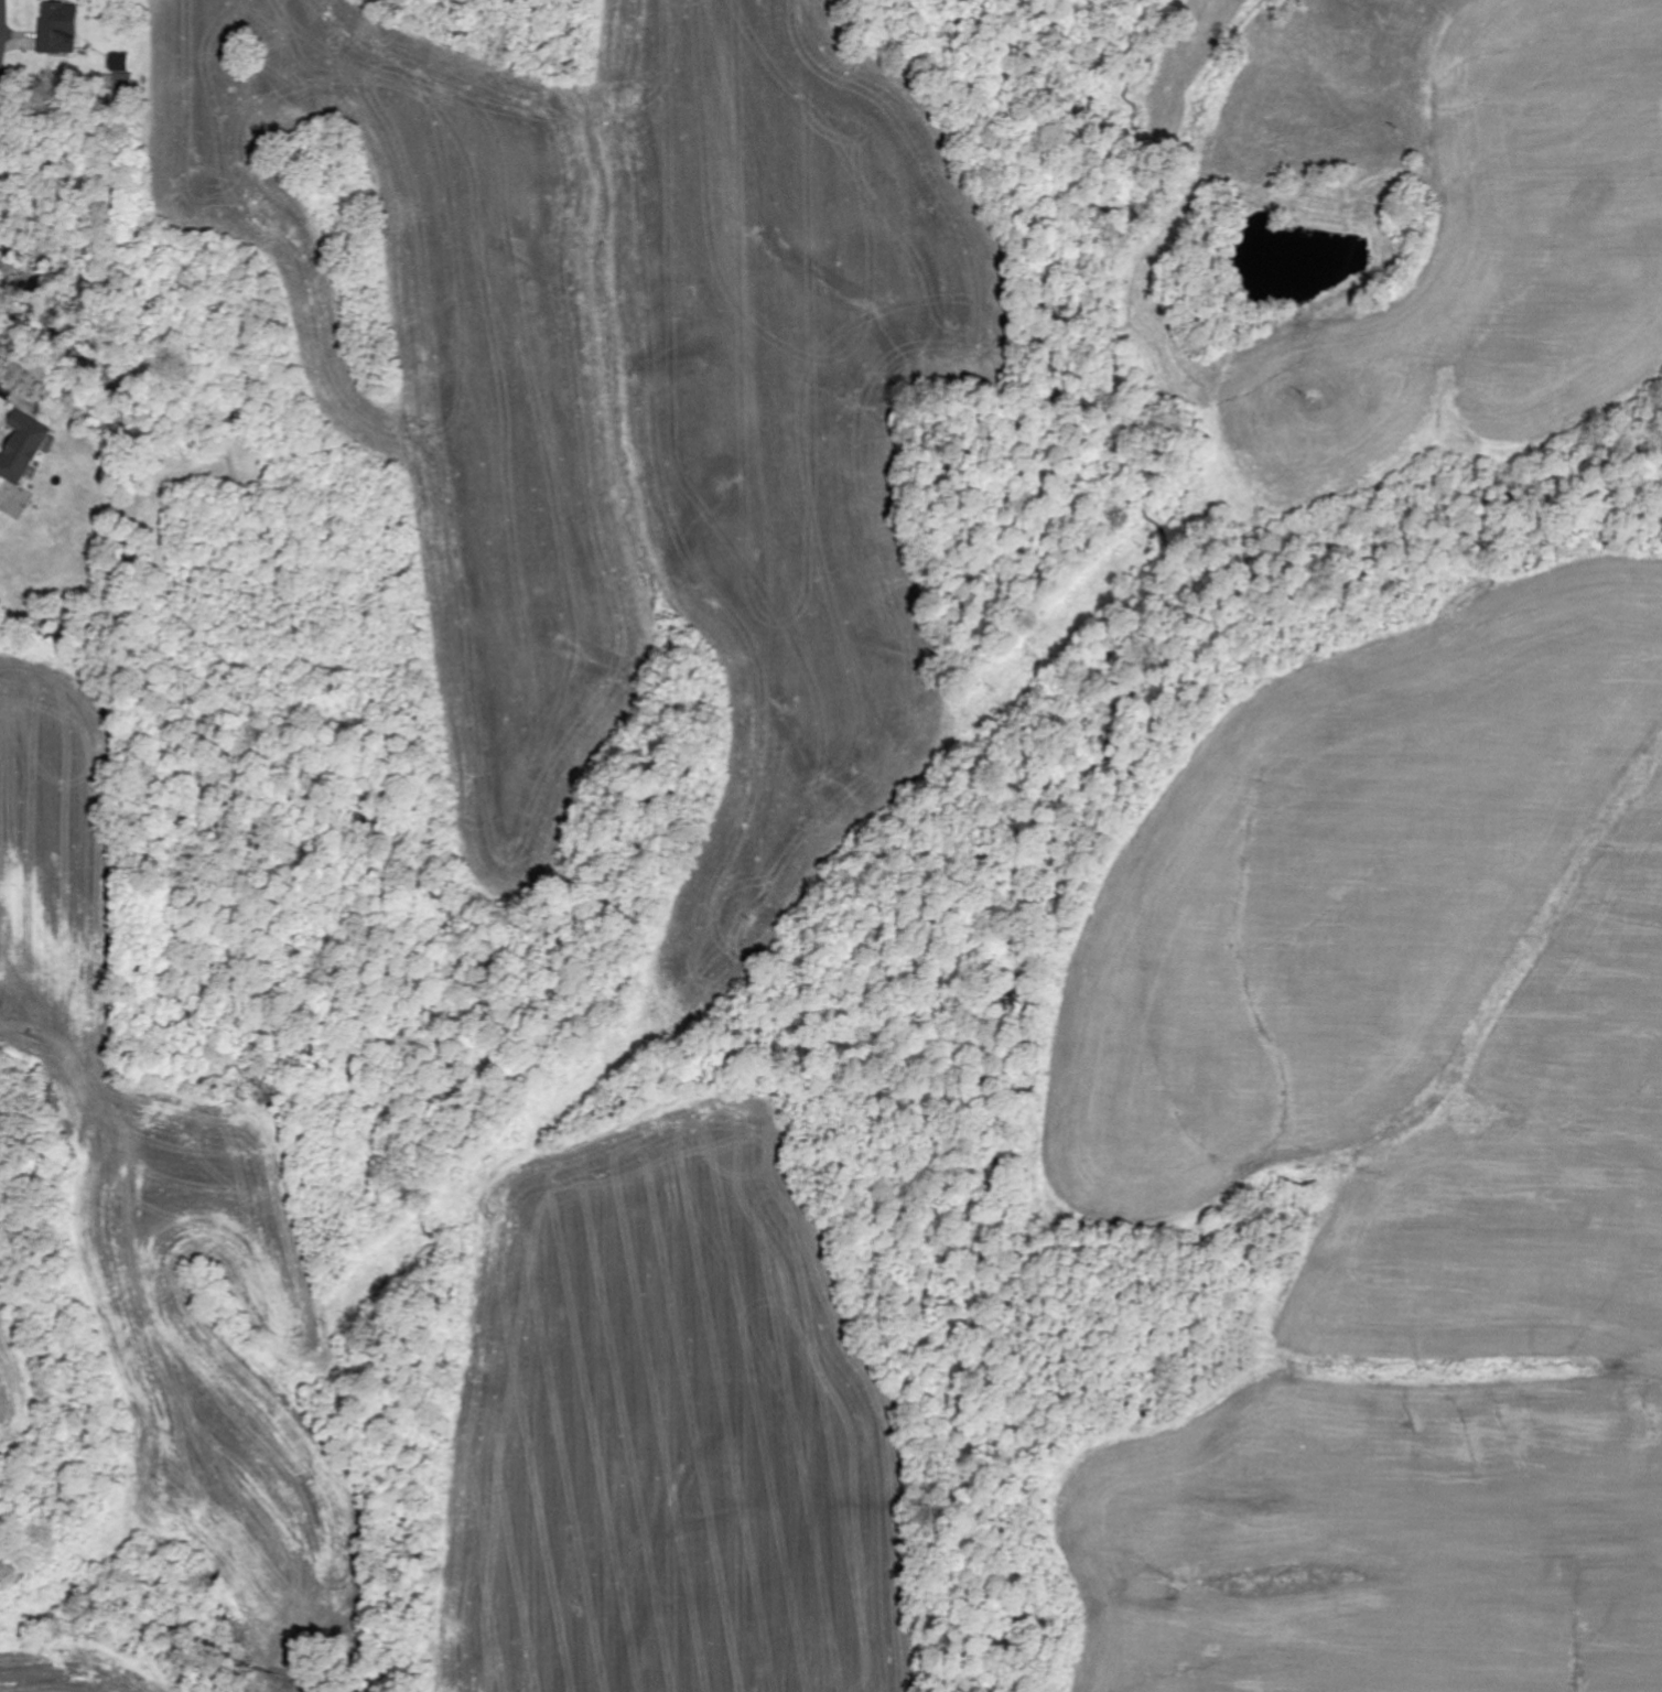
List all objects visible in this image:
building: (58, 28)
building: (23, 446)

